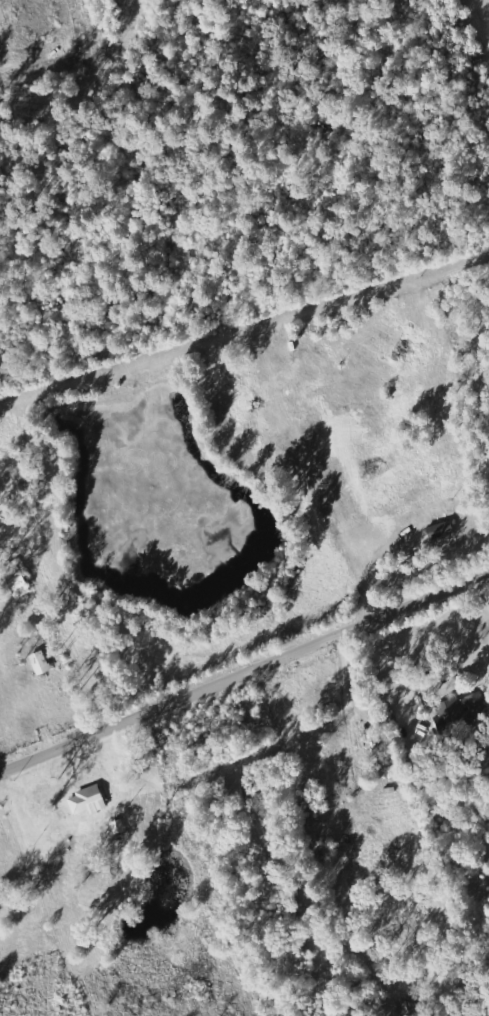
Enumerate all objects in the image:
building: (442, 530)
building: (42, 662)
road: (244, 672)
building: (462, 710)
building: (485, 737)
building: (316, 758)
building: (89, 800)

